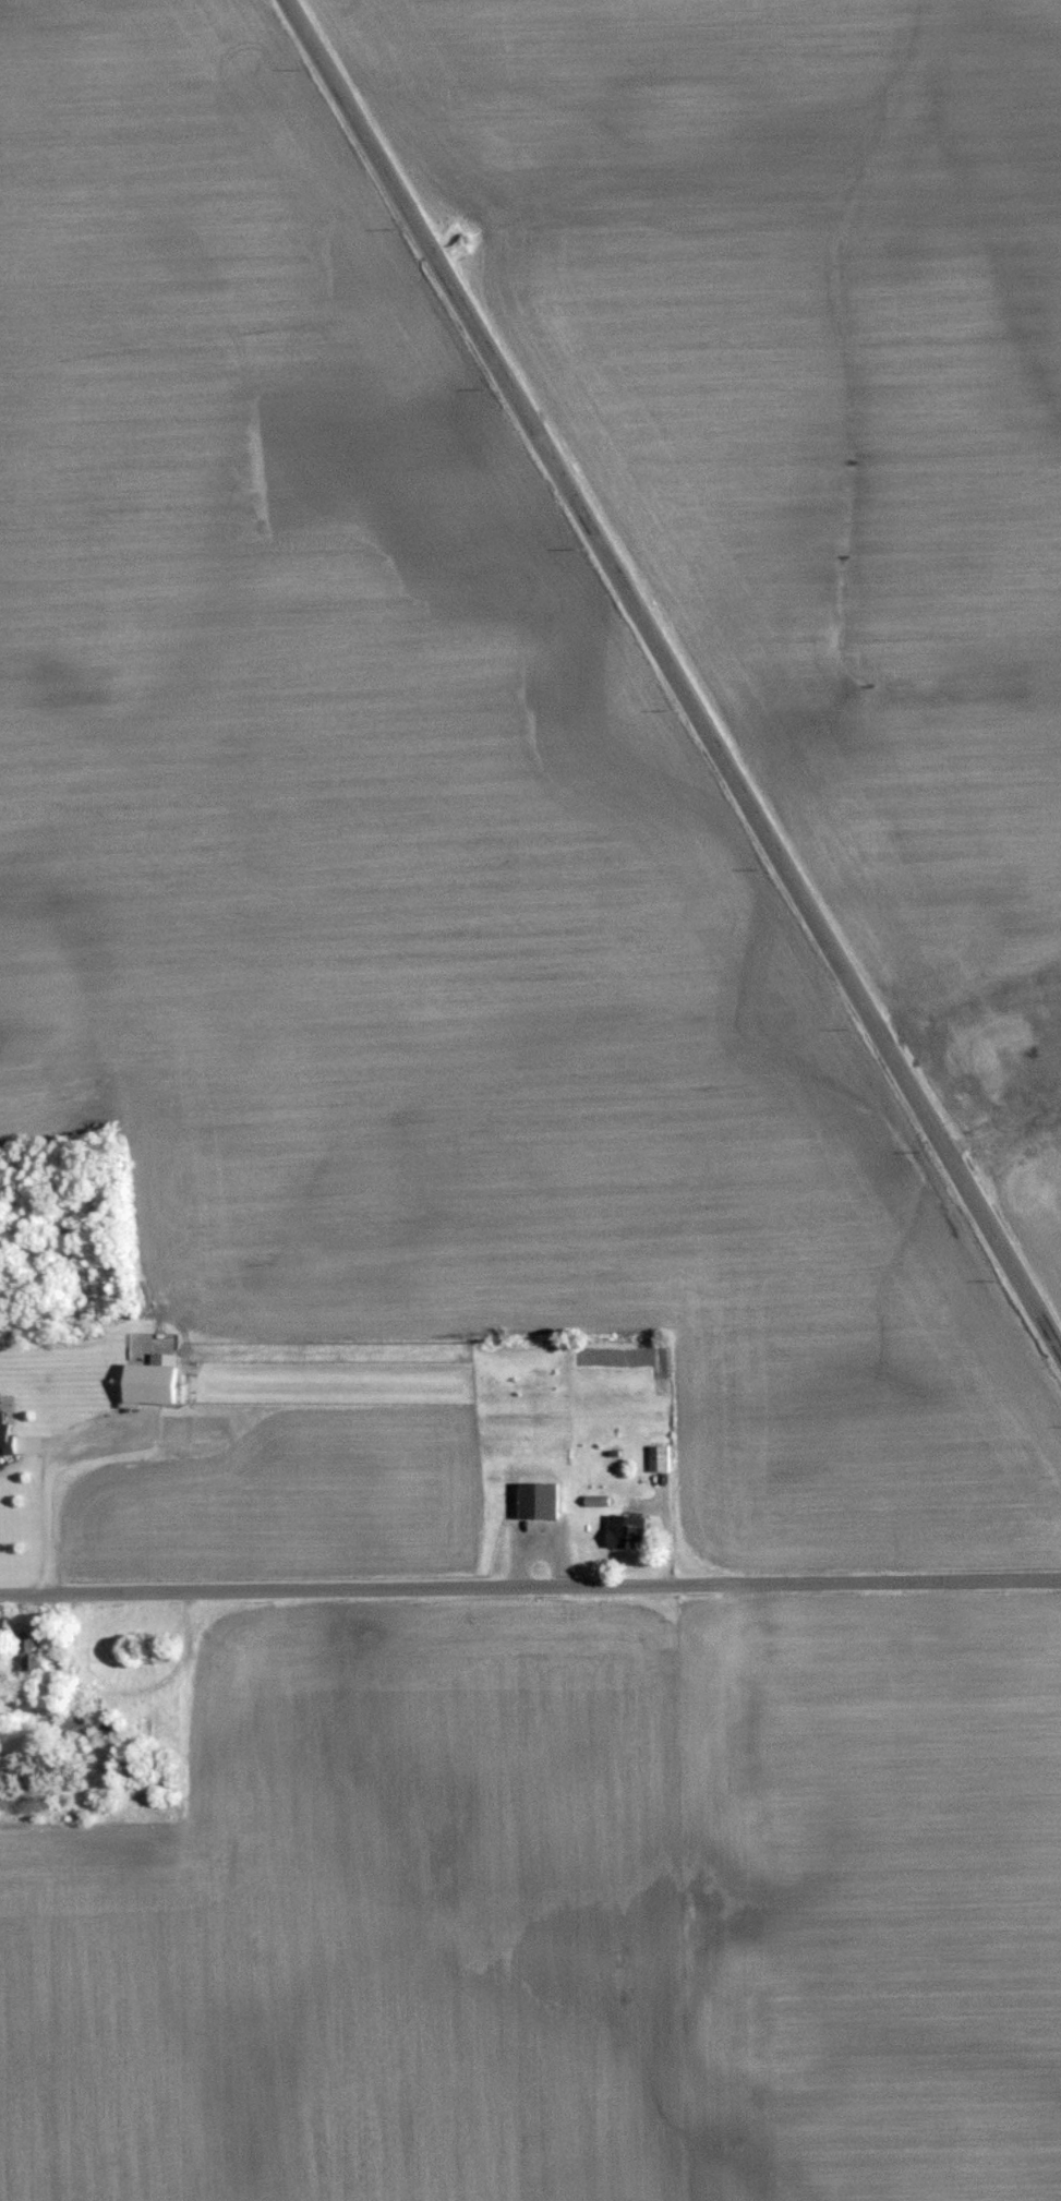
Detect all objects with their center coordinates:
road: (671, 674)
building: (543, 1501)
road: (58, 1516)
building: (628, 1531)
road: (530, 1586)
building: (36, 1653)
building: (81, 1725)
building: (114, 1727)
building: (125, 1768)

